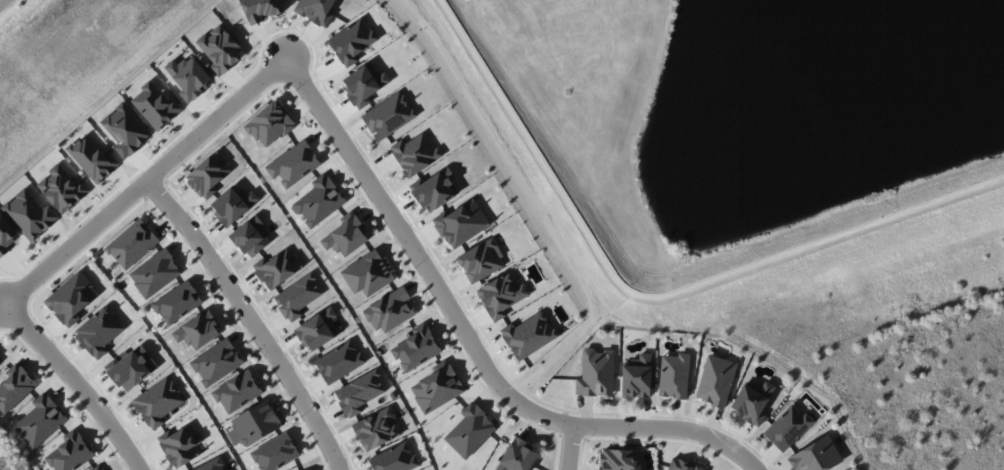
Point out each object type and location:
building: (316, 10)
building: (352, 41)
building: (220, 50)
building: (189, 77)
building: (364, 84)
building: (156, 106)
building: (389, 115)
building: (270, 124)
building: (126, 129)
building: (416, 153)
building: (93, 158)
building: (294, 164)
building: (209, 175)
building: (62, 188)
building: (436, 190)
building: (319, 201)
road: (538, 202)
building: (233, 204)
building: (29, 213)
building: (462, 223)
building: (5, 235)
building: (251, 236)
building: (346, 236)
building: (133, 244)
road: (59, 251)
building: (481, 261)
building: (278, 268)
dam: (672, 268)
building: (156, 273)
building: (369, 273)
building: (502, 295)
building: (298, 296)
road: (651, 296)
building: (72, 298)
building: (178, 302)
building: (390, 310)
road: (251, 319)
building: (318, 329)
building: (198, 330)
building: (99, 332)
building: (529, 335)
road: (472, 339)
building: (417, 348)
building: (340, 361)
building: (0, 362)
building: (217, 362)
building: (132, 368)
building: (596, 373)
building: (674, 375)
building: (637, 377)
building: (716, 380)
building: (15, 387)
building: (438, 387)
building: (238, 392)
building: (360, 392)
building: (752, 401)
building: (158, 402)
building: (40, 421)
building: (257, 422)
building: (787, 427)
building: (377, 429)
building: (470, 431)
building: (181, 445)
road: (569, 447)
building: (70, 453)
building: (276, 453)
building: (518, 456)
building: (817, 456)
building: (395, 458)
building: (621, 459)
building: (213, 465)
building: (684, 465)
building: (98, 467)
building: (307, 469)

